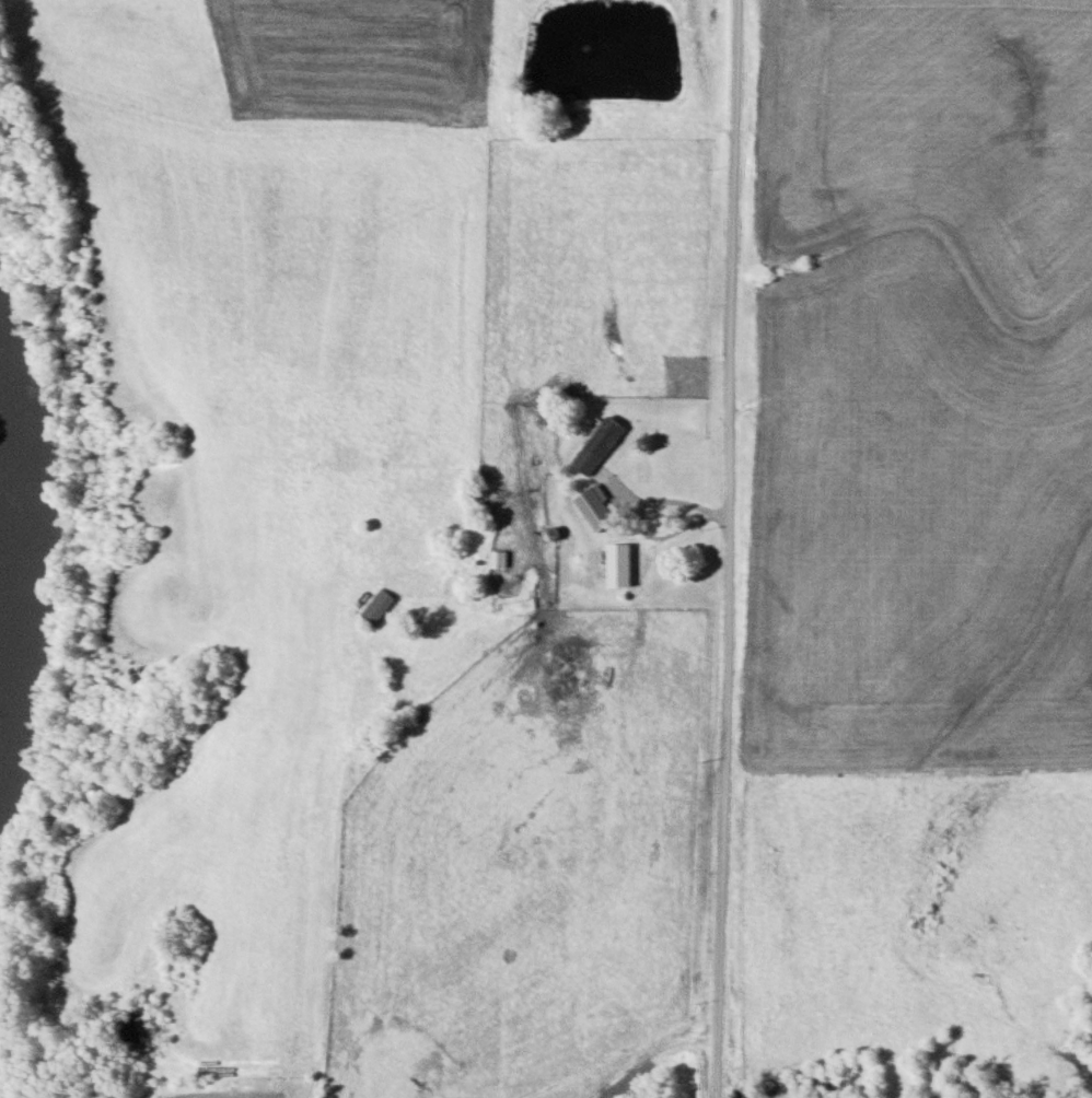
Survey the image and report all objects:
building: (600, 444)
building: (596, 506)
river: (20, 540)
road: (718, 549)
building: (499, 559)
building: (380, 607)
building: (546, 675)

